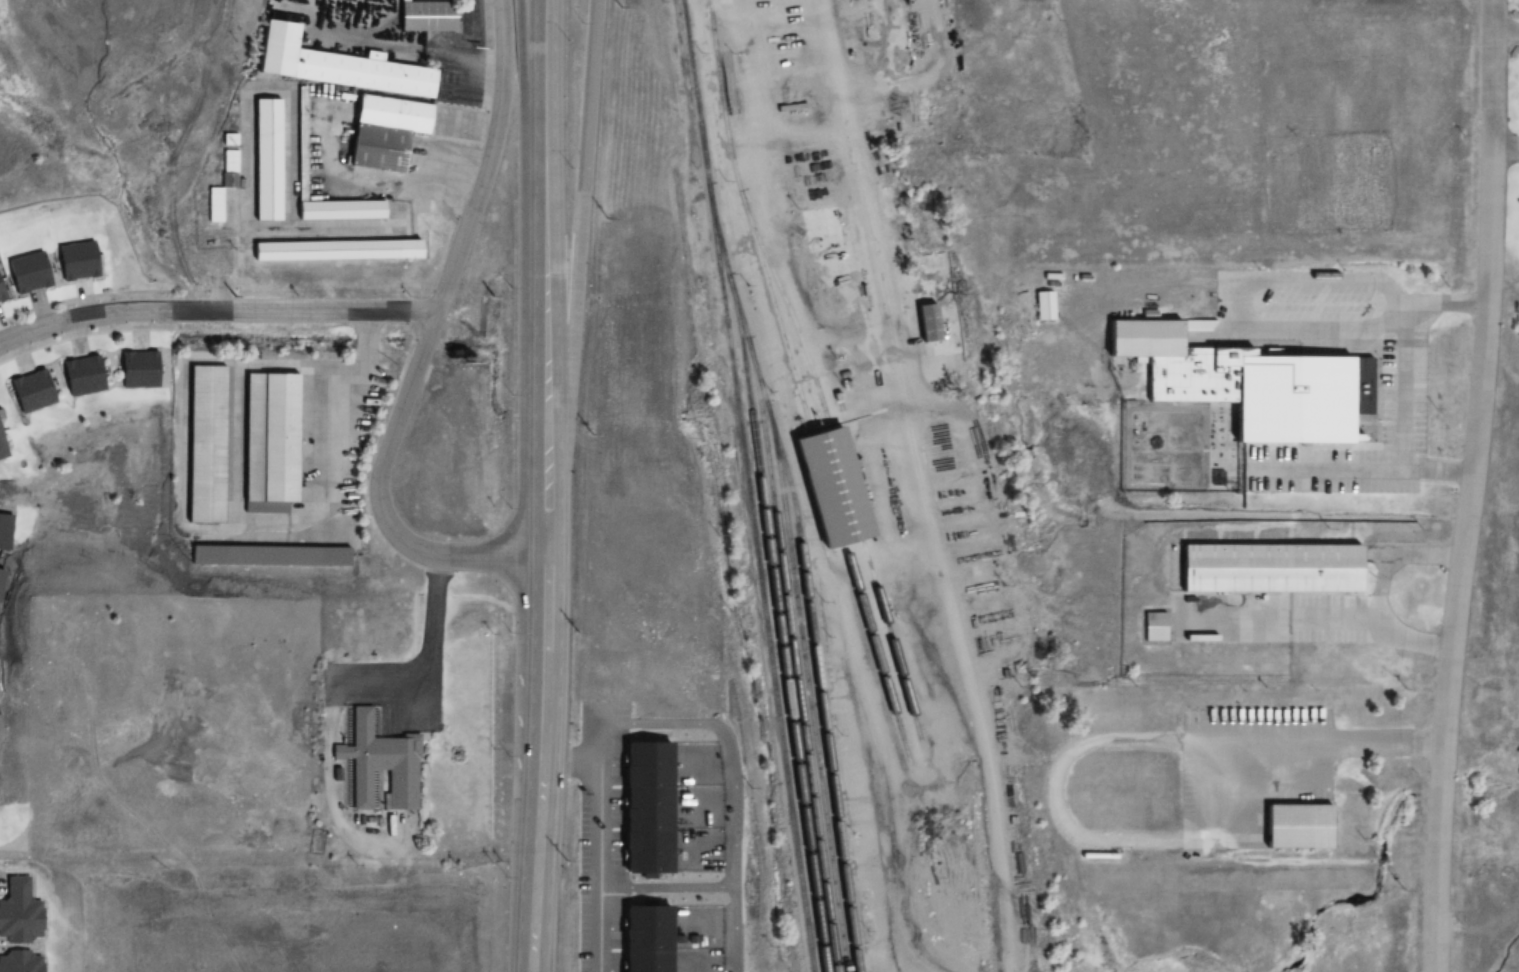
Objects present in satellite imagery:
building: (424, 17)
building: (335, 67)
railway: (722, 103)
railway: (696, 104)
road: (543, 118)
building: (941, 129)
building: (382, 133)
building: (300, 144)
building: (266, 161)
building: (332, 251)
railway: (721, 251)
road: (578, 254)
building: (77, 267)
building: (28, 274)
road: (524, 278)
building: (0, 299)
road: (216, 310)
building: (926, 322)
railway: (743, 328)
road: (1391, 334)
building: (1141, 339)
road: (425, 345)
building: (138, 371)
road: (543, 372)
building: (82, 377)
railway: (762, 390)
building: (32, 392)
road: (1401, 398)
building: (1289, 401)
building: (267, 438)
building: (205, 442)
building: (1, 451)
road: (1395, 462)
railway: (840, 468)
railway: (825, 482)
road: (1472, 486)
building: (831, 488)
building: (6, 529)
road: (544, 532)
building: (1267, 570)
building: (1, 577)
road: (1379, 587)
railway: (761, 589)
road: (1281, 621)
building: (1154, 627)
railway: (779, 633)
road: (437, 641)
railway: (793, 666)
railway: (820, 694)
railway: (808, 695)
road: (541, 702)
road: (519, 703)
road: (1084, 744)
building: (383, 761)
building: (1296, 826)
road: (535, 910)
building: (19, 912)
building: (20, 961)

